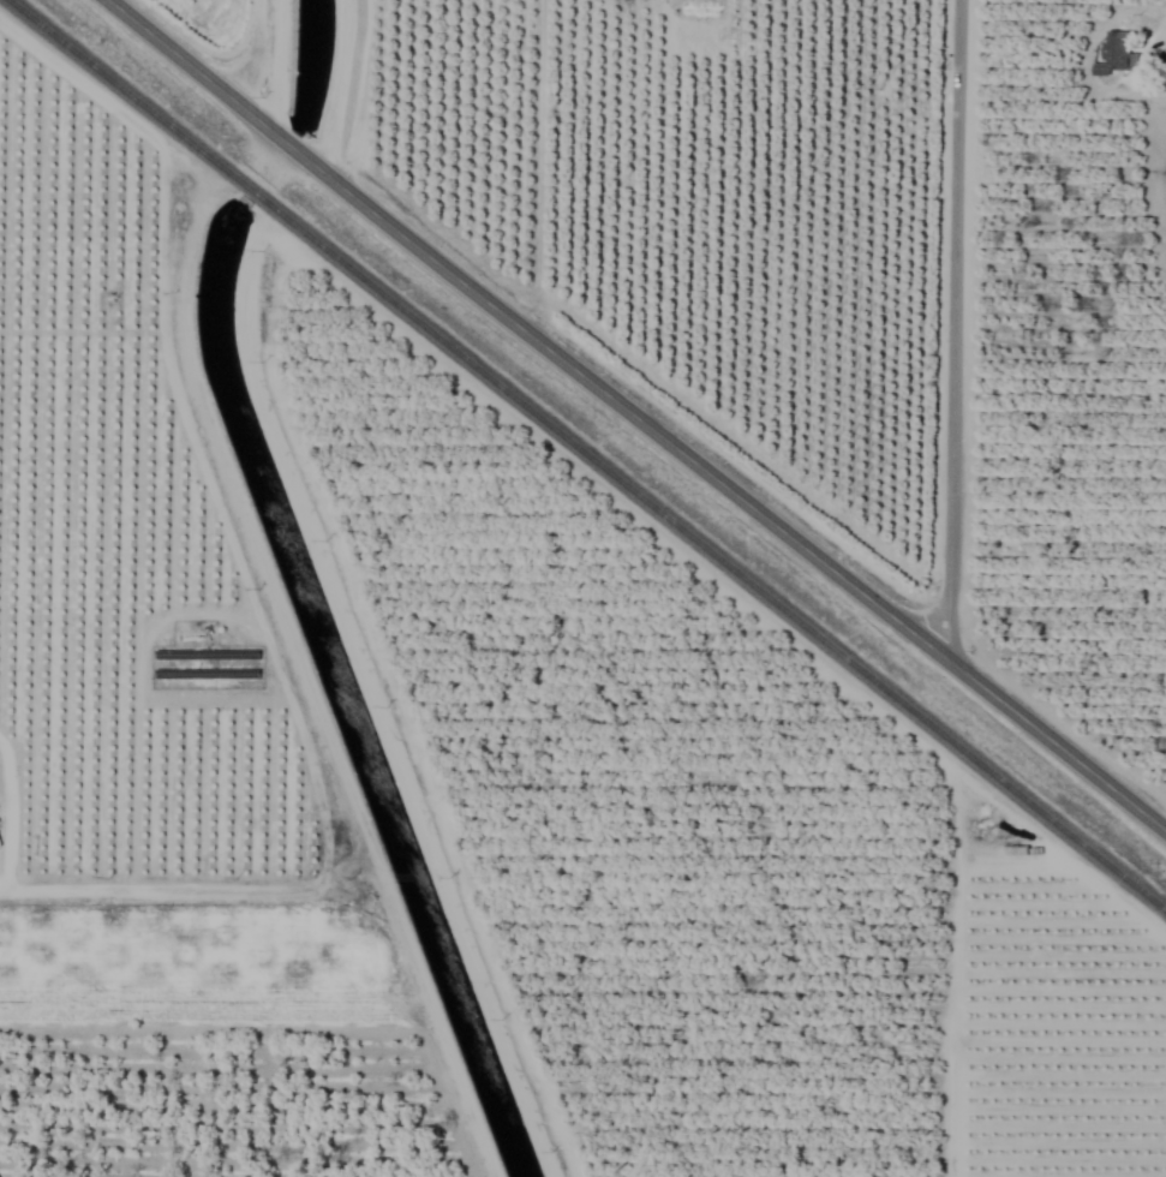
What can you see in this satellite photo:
building: (932, 7)
road: (249, 52)
building: (1116, 54)
road: (955, 330)
road: (634, 418)
railway: (585, 456)
crop: (582, 588)
road: (7, 807)
road: (168, 889)

